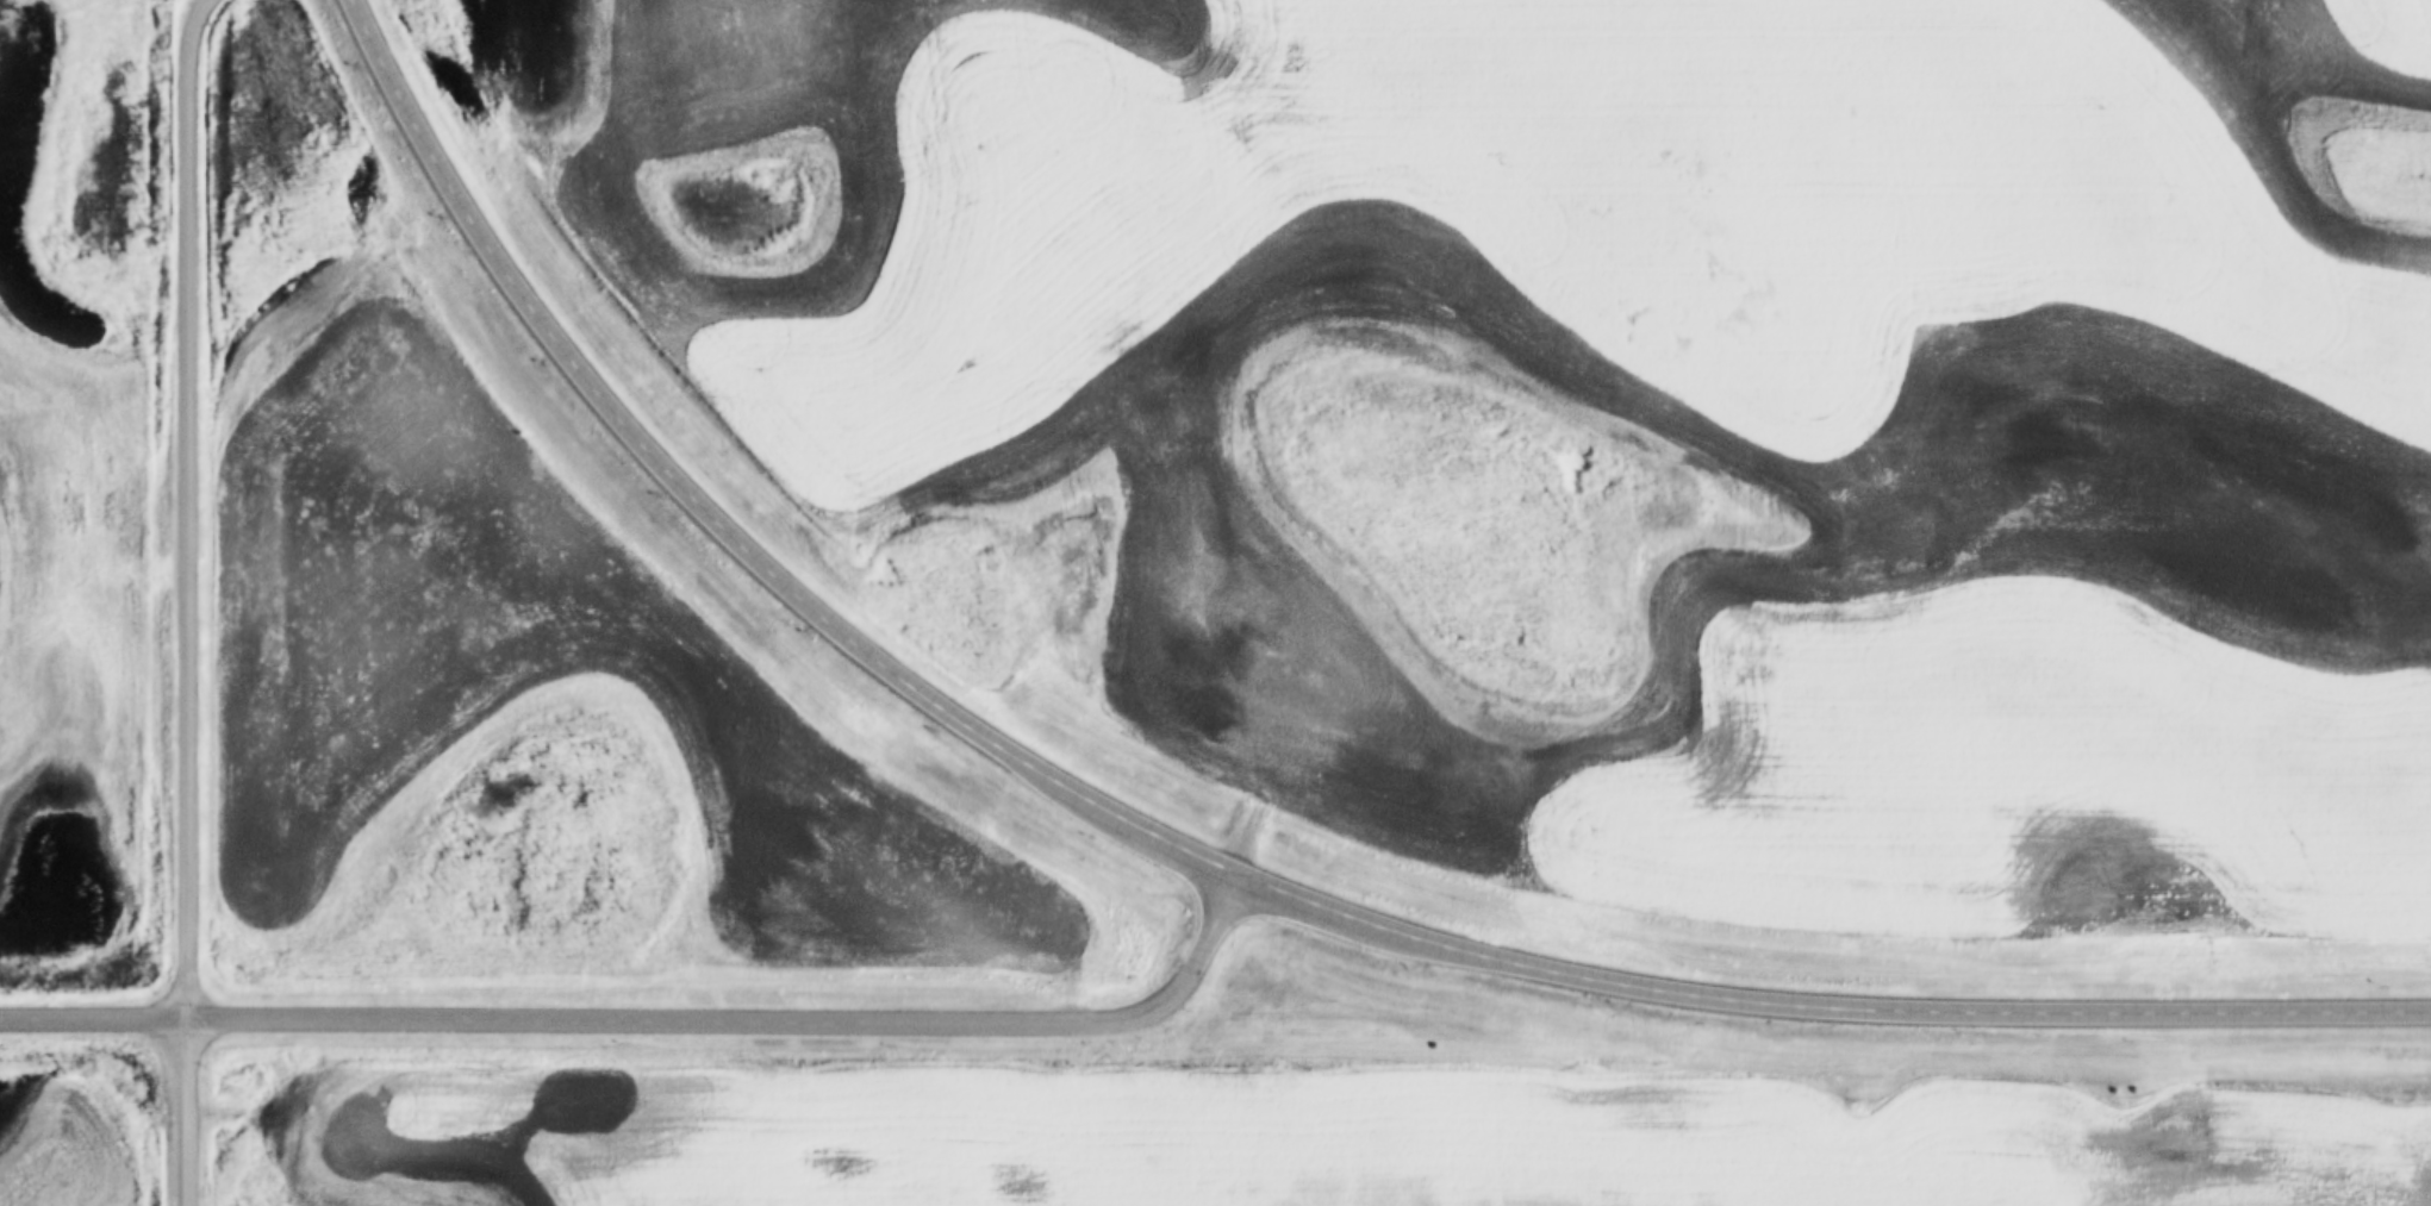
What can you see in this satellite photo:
road: (713, 518)
road: (192, 601)
road: (1825, 1002)
road: (659, 1019)

